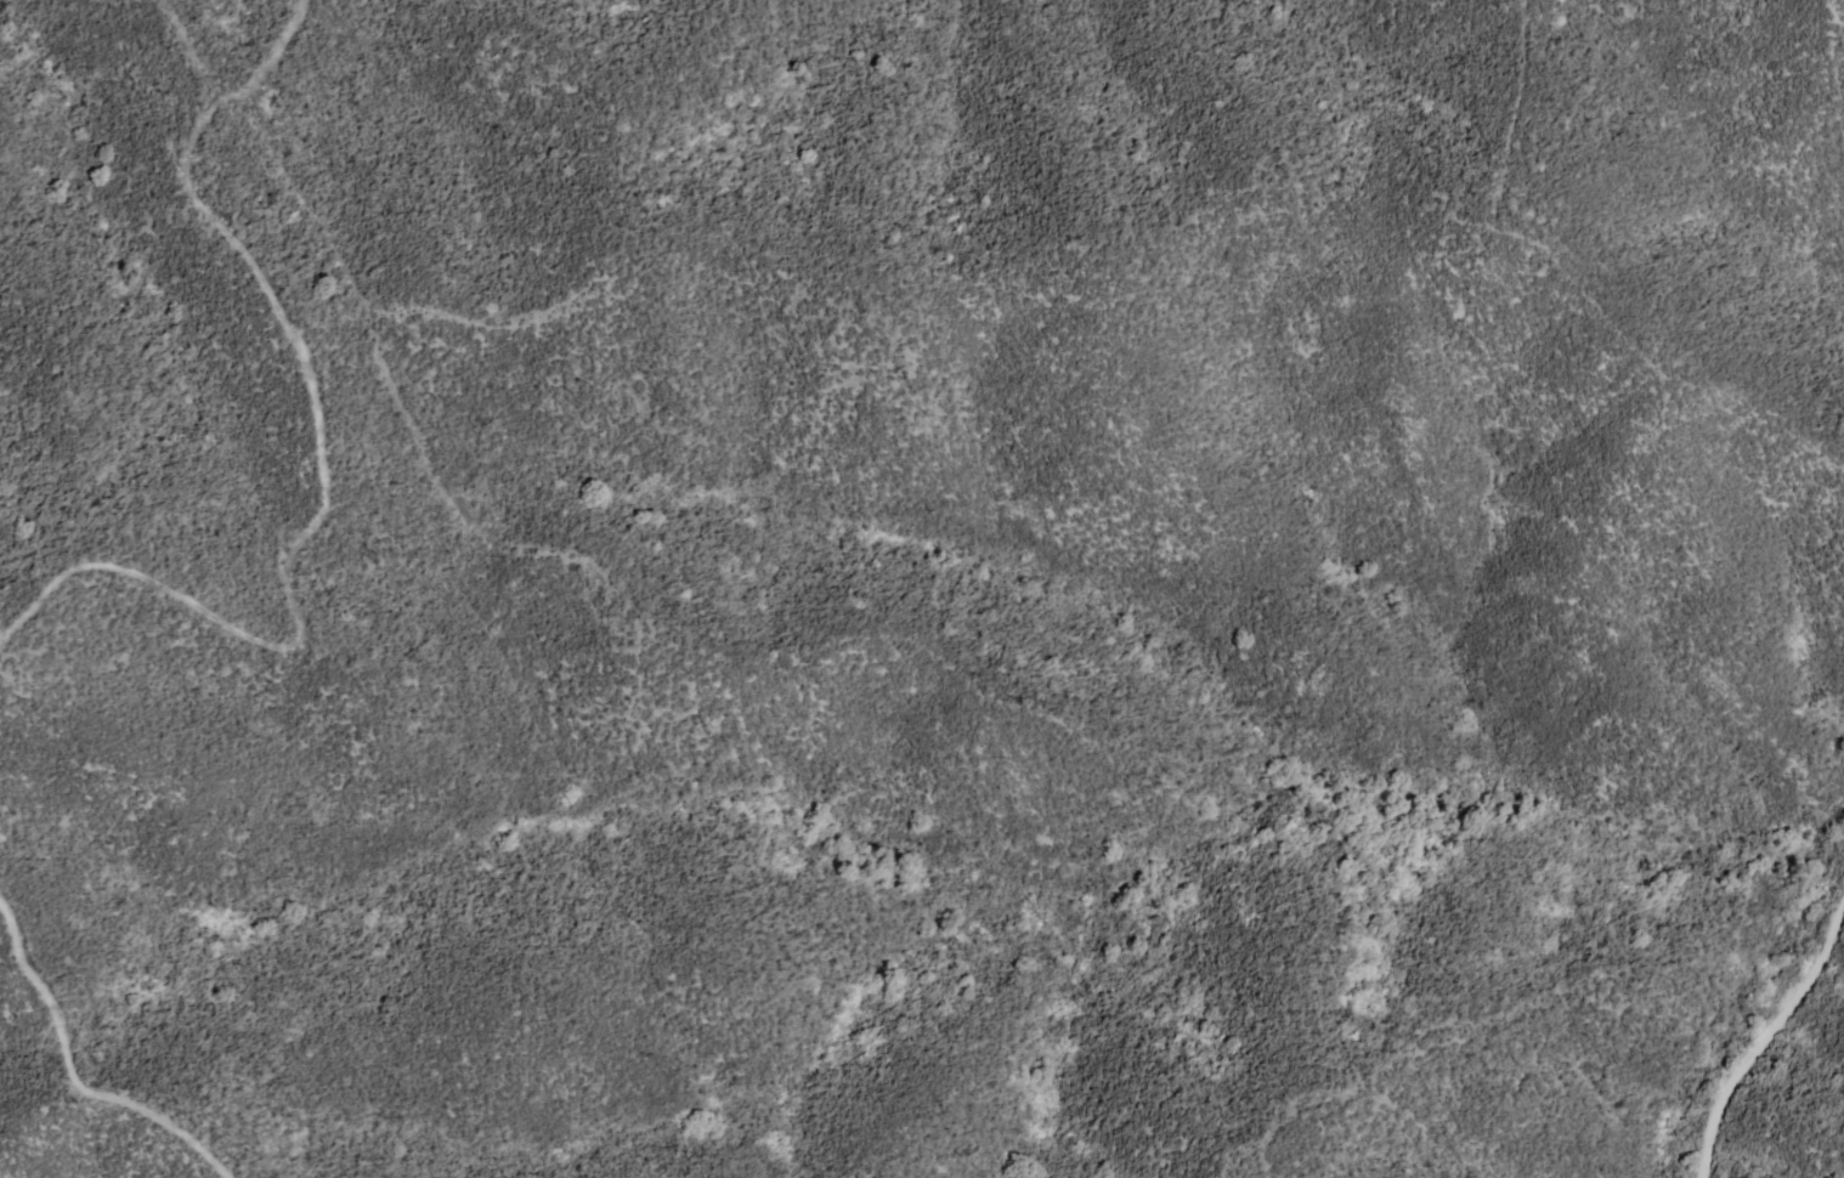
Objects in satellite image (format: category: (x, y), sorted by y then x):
road: (1764, 1040)

